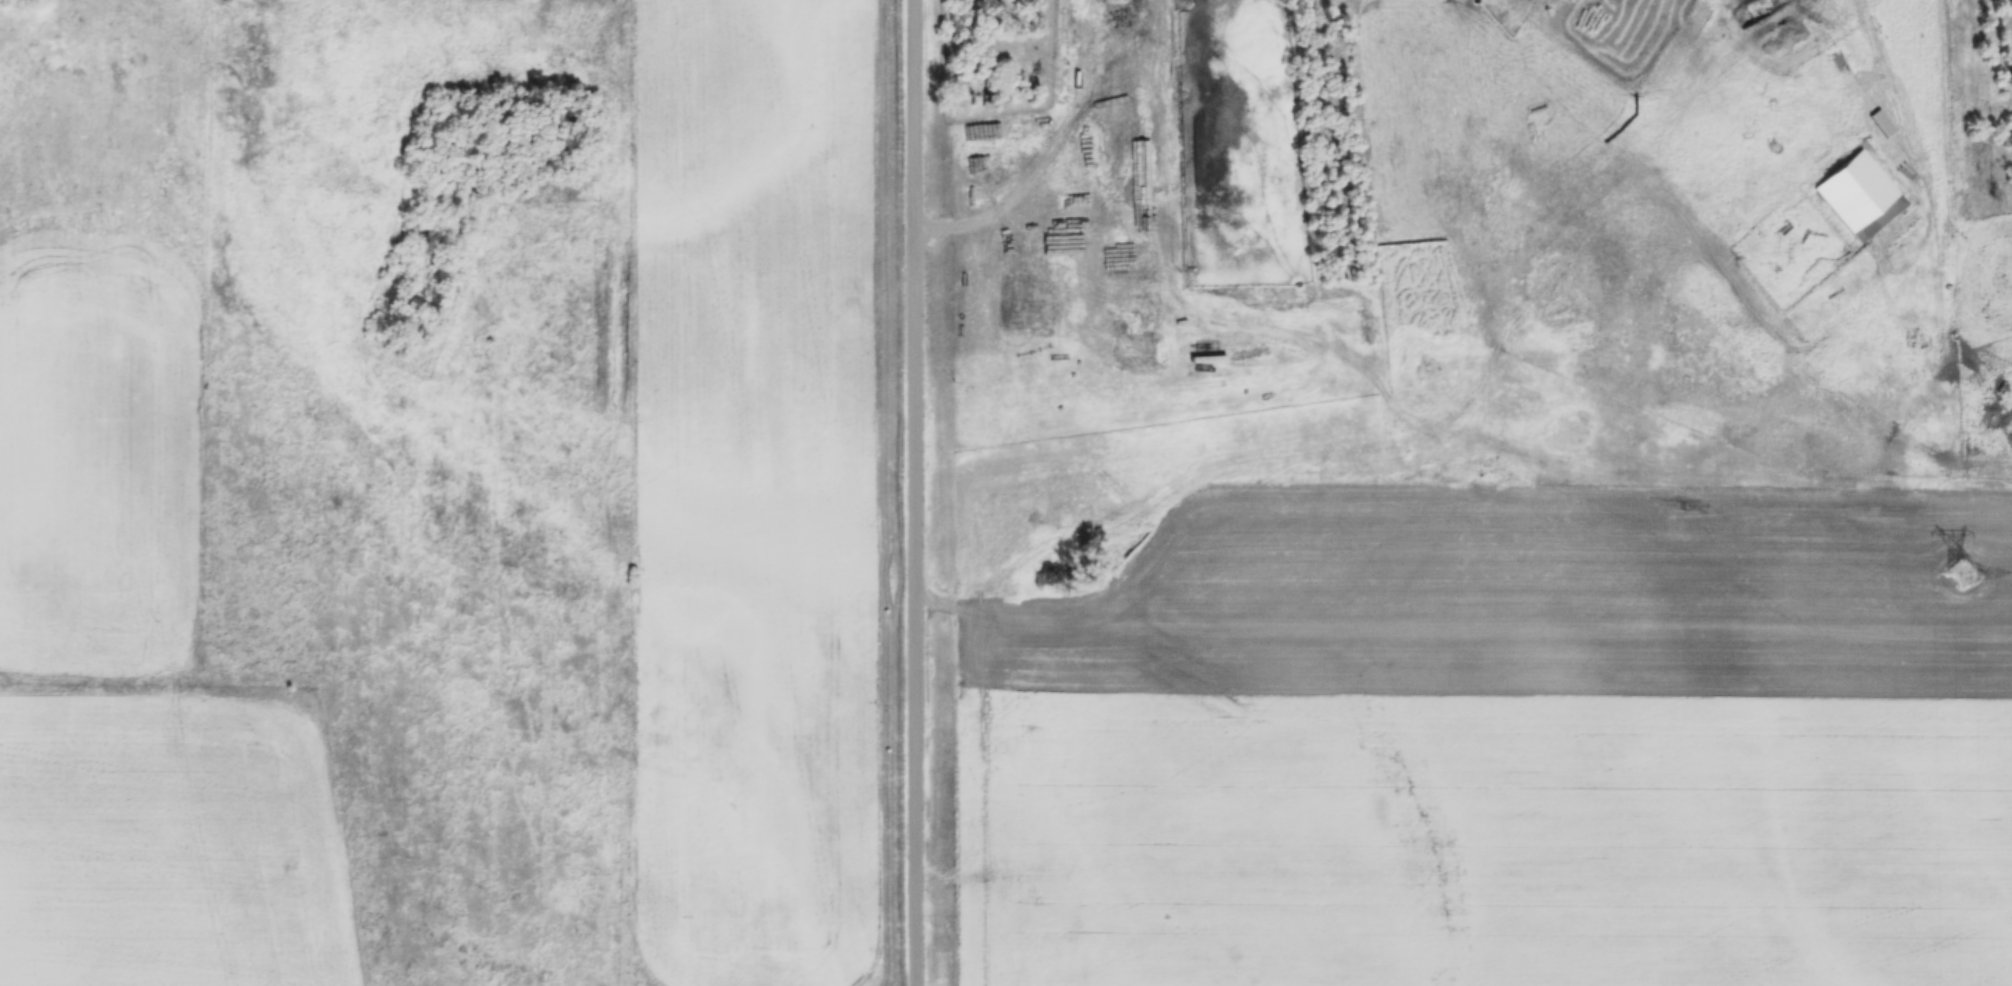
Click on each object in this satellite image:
building: (1852, 186)
road: (911, 492)
power tower: (1960, 574)

